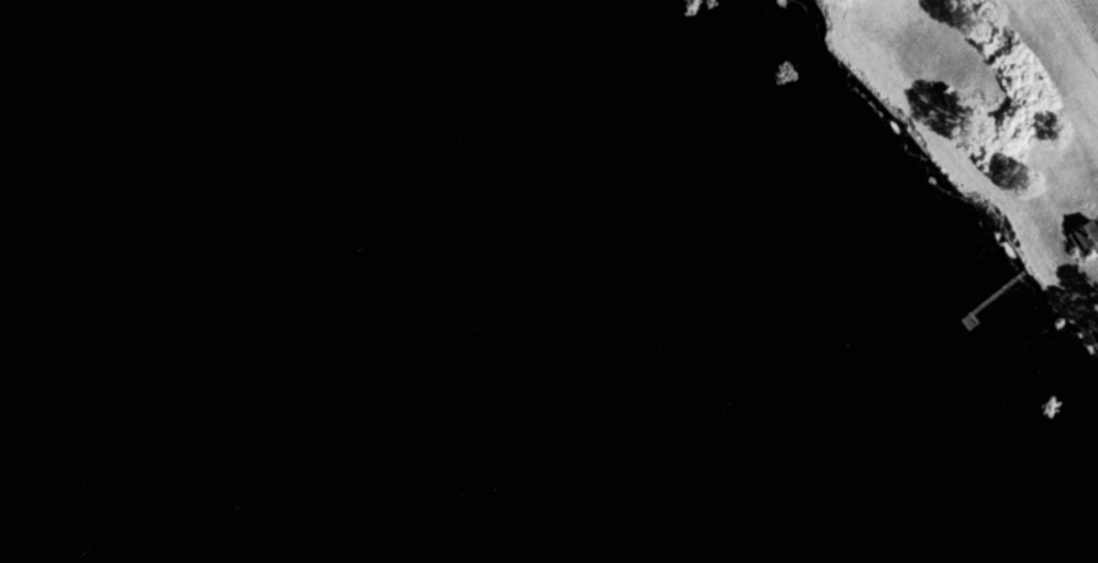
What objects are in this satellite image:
building: (953, 96)
building: (1089, 235)

